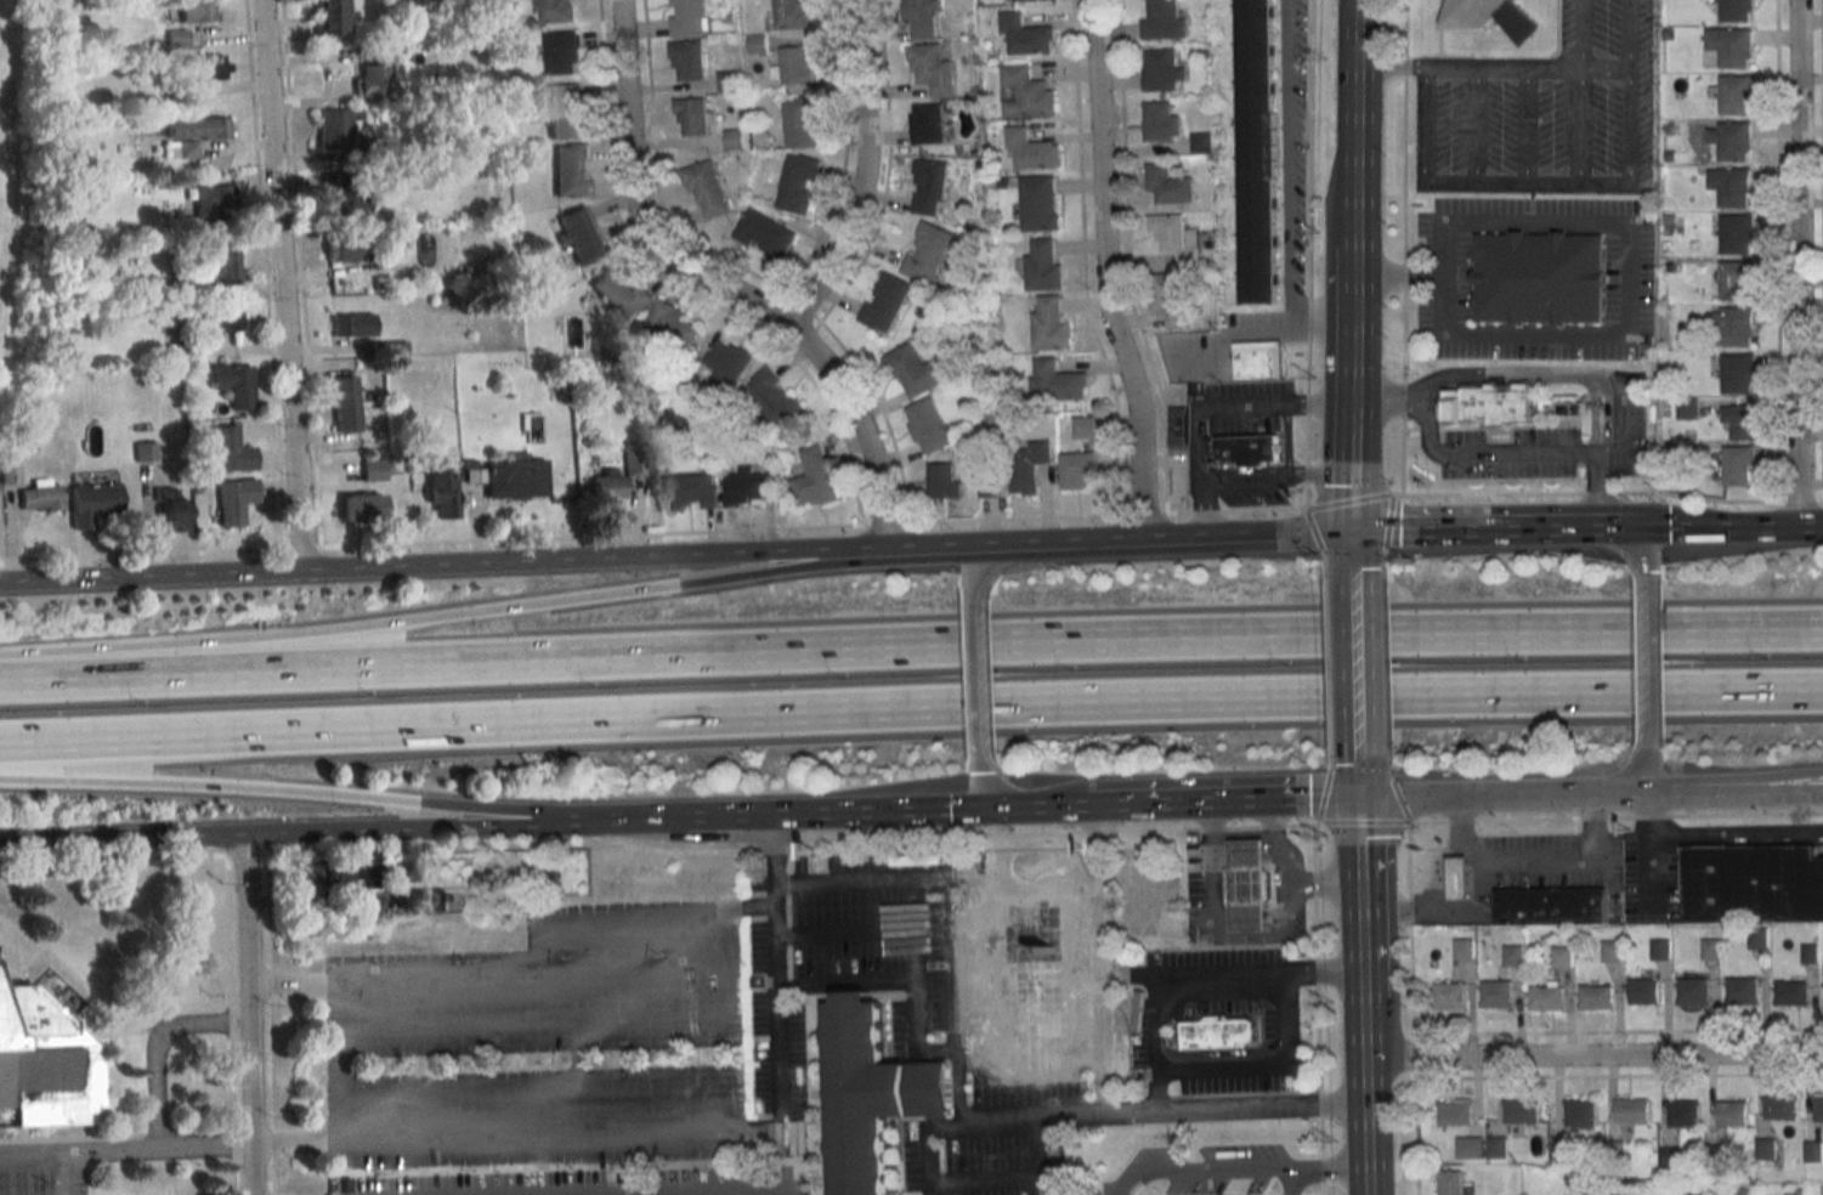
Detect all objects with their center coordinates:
building: (1025, 0)
building: (556, 10)
building: (1737, 10)
building: (196, 11)
building: (789, 15)
building: (1493, 16)
building: (328, 17)
building: (687, 17)
building: (730, 17)
building: (921, 17)
building: (1162, 21)
building: (403, 29)
building: (1211, 34)
building: (1025, 35)
road: (1580, 35)
road: (1631, 35)
building: (176, 39)
building: (755, 43)
building: (1731, 46)
building: (561, 52)
building: (1204, 52)
building: (689, 60)
building: (205, 68)
building: (793, 68)
building: (932, 68)
building: (1159, 68)
road: (1494, 69)
building: (374, 72)
building: (726, 80)
building: (1026, 92)
building: (1734, 94)
building: (564, 111)
building: (693, 114)
building: (799, 120)
building: (1159, 121)
building: (927, 123)
road: (1422, 124)
road: (1477, 124)
road: (1527, 125)
road: (1579, 126)
road: (1631, 126)
building: (198, 128)
building: (333, 129)
road: (1355, 135)
building: (732, 138)
building: (1731, 140)
building: (1200, 141)
building: (370, 148)
building: (1030, 149)
building: (181, 151)
building: (1257, 151)
road: (1285, 164)
building: (571, 170)
road: (859, 172)
road: (840, 174)
road: (1525, 180)
road: (657, 183)
building: (796, 183)
building: (1167, 185)
building: (928, 186)
building: (1731, 186)
building: (704, 189)
building: (341, 192)
building: (213, 199)
road: (632, 200)
building: (1038, 202)
road: (621, 221)
building: (186, 227)
building: (764, 233)
building: (1736, 233)
building: (579, 234)
building: (1174, 237)
road: (1627, 242)
building: (340, 249)
building: (927, 253)
road: (1125, 257)
road: (1082, 259)
road: (1797, 264)
building: (225, 265)
building: (1042, 266)
road: (1106, 272)
road: (266, 273)
road: (301, 273)
building: (1538, 276)
road: (851, 278)
building: (1736, 279)
building: (181, 284)
road: (281, 287)
building: (621, 290)
building: (1170, 299)
building: (883, 301)
building: (171, 316)
building: (225, 321)
building: (1049, 323)
building: (352, 324)
building: (672, 324)
building: (1734, 325)
road: (1257, 330)
building: (390, 347)
building: (1258, 359)
building: (726, 362)
building: (915, 370)
road: (1532, 370)
road: (1354, 373)
building: (1738, 373)
building: (1057, 380)
building: (233, 384)
road: (1436, 387)
building: (771, 397)
road: (1278, 402)
building: (1488, 402)
building: (344, 403)
building: (1687, 408)
road: (881, 414)
building: (992, 419)
building: (1740, 421)
building: (928, 425)
building: (1178, 425)
road: (859, 426)
building: (1083, 426)
road: (1619, 432)
road: (1286, 438)
road: (1202, 442)
building: (231, 449)
building: (1246, 451)
building: (143, 452)
road: (1487, 455)
building: (414, 463)
building: (1027, 464)
building: (1740, 465)
building: (1077, 468)
building: (9, 469)
building: (372, 469)
road: (1321, 475)
building: (515, 477)
building: (814, 477)
road: (1246, 477)
building: (616, 480)
building: (944, 480)
building: (748, 486)
building: (990, 487)
building: (198, 488)
building: (441, 491)
building: (689, 491)
building: (41, 494)
building: (233, 499)
road: (1349, 500)
building: (92, 502)
road: (1353, 505)
building: (361, 508)
building: (172, 509)
road: (1202, 509)
road: (905, 522)
road: (1388, 522)
road: (1314, 528)
road: (1692, 528)
road: (1811, 528)
traffic signals: (1595, 529)
road: (1468, 532)
traffic signals: (1353, 536)
road: (1249, 538)
road: (1620, 545)
road: (1076, 546)
road: (945, 551)
road: (1353, 553)
road: (590, 563)
road: (981, 570)
road: (148, 580)
road: (1385, 587)
road: (1326, 588)
road: (1649, 604)
road: (503, 607)
road: (1386, 642)
road: (1327, 644)
road: (1485, 653)
road: (978, 655)
road: (1354, 662)
road: (574, 675)
road: (1487, 693)
road: (1386, 695)
road: (1329, 696)
road: (1649, 696)
road: (576, 719)
road: (980, 738)
road: (1330, 748)
road: (1387, 749)
road: (1355, 781)
road: (1624, 781)
road: (1796, 783)
road: (271, 789)
road: (1796, 789)
road: (1678, 794)
road: (1324, 795)
road: (995, 797)
road: (1399, 797)
road: (1471, 803)
traffic signals: (1355, 808)
road: (1236, 810)
road: (1070, 814)
traffic signals: (1021, 816)
road: (780, 817)
road: (1276, 822)
road: (1315, 825)
road: (1364, 825)
road: (392, 829)
road: (1722, 832)
road: (1460, 836)
road: (121, 839)
road: (1357, 845)
road: (1283, 849)
road: (657, 851)
road: (1479, 863)
building: (1457, 877)
road: (1019, 878)
building: (1754, 883)
building: (1249, 884)
road: (1358, 900)
building: (1551, 905)
road: (1222, 934)
road: (845, 935)
road: (1360, 942)
building: (1465, 948)
building: (1660, 948)
building: (1710, 948)
building: (1612, 951)
building: (1513, 955)
building: (1562, 957)
road: (1230, 970)
building: (1029, 974)
road: (589, 975)
road: (777, 979)
road: (847, 985)
road: (916, 985)
building: (1693, 990)
building: (1743, 990)
building: (1644, 991)
building: (1791, 992)
building: (1496, 993)
building: (1450, 996)
building: (1546, 996)
building: (1595, 997)
road: (1318, 1009)
road: (245, 1015)
road: (230, 1025)
road: (271, 1025)
building: (1219, 1033)
road: (1157, 1041)
road: (955, 1043)
road: (158, 1046)
road: (1593, 1060)
building: (46, 1063)
road: (1269, 1065)
road: (346, 1067)
road: (1364, 1082)
road: (1105, 1091)
building: (873, 1093)
building: (1780, 1108)
building: (1818, 1108)
building: (1632, 1110)
building: (1521, 1111)
building: (1455, 1112)
building: (1580, 1112)
building: (1683, 1112)
building: (1733, 1112)
road: (565, 1135)
building: (1470, 1146)
building: (1496, 1146)
road: (934, 1149)
building: (1767, 1149)
building: (1813, 1150)
road: (124, 1151)
building: (1668, 1154)
road: (1326, 1167)
road: (1198, 1168)
road: (61, 1174)
road: (1286, 1180)
building: (1450, 1182)
building: (1164, 1189)
road: (697, 1191)
building: (1744, 1191)
building: (1794, 1191)
building: (1693, 1193)

